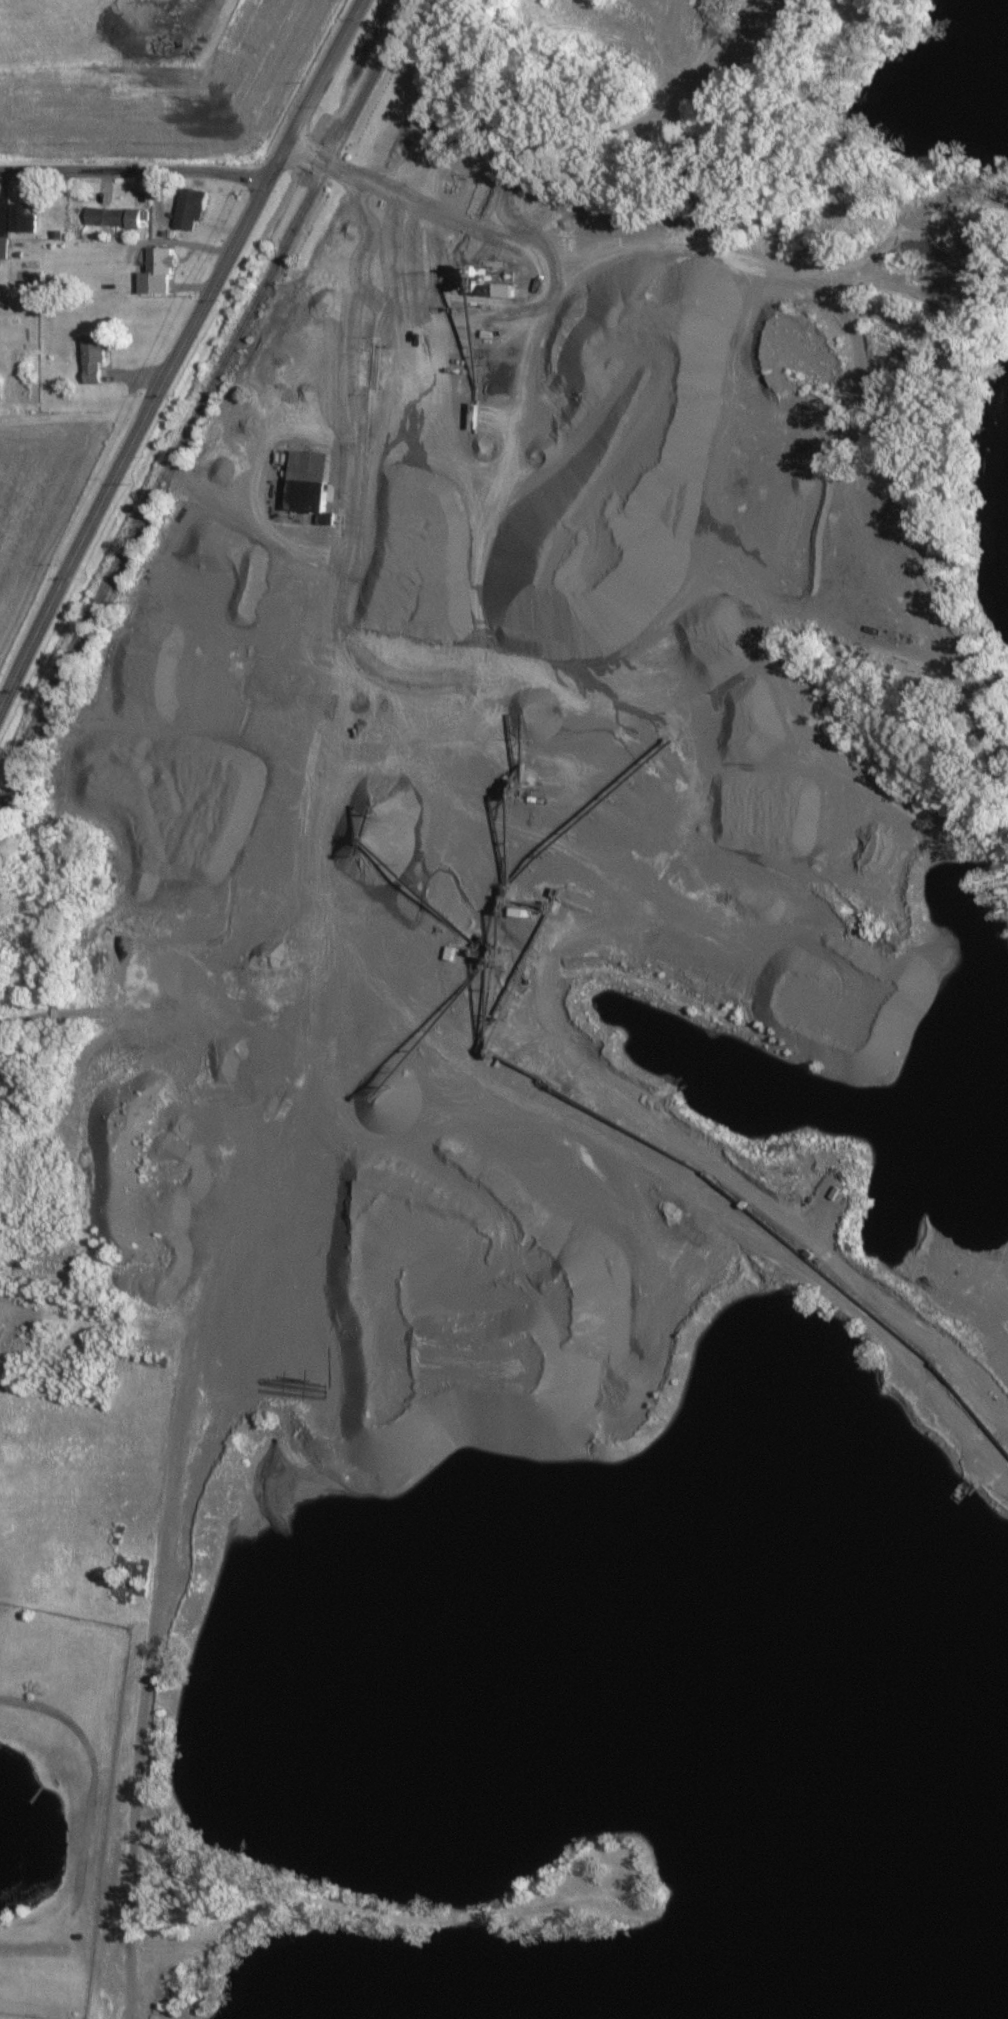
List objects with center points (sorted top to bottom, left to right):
road: (133, 163)
building: (189, 209)
building: (113, 218)
building: (21, 220)
building: (3, 248)
building: (155, 273)
building: (502, 292)
road: (178, 349)
building: (91, 358)
railway: (201, 402)
building: (306, 483)
river: (1005, 542)
road: (122, 1004)

